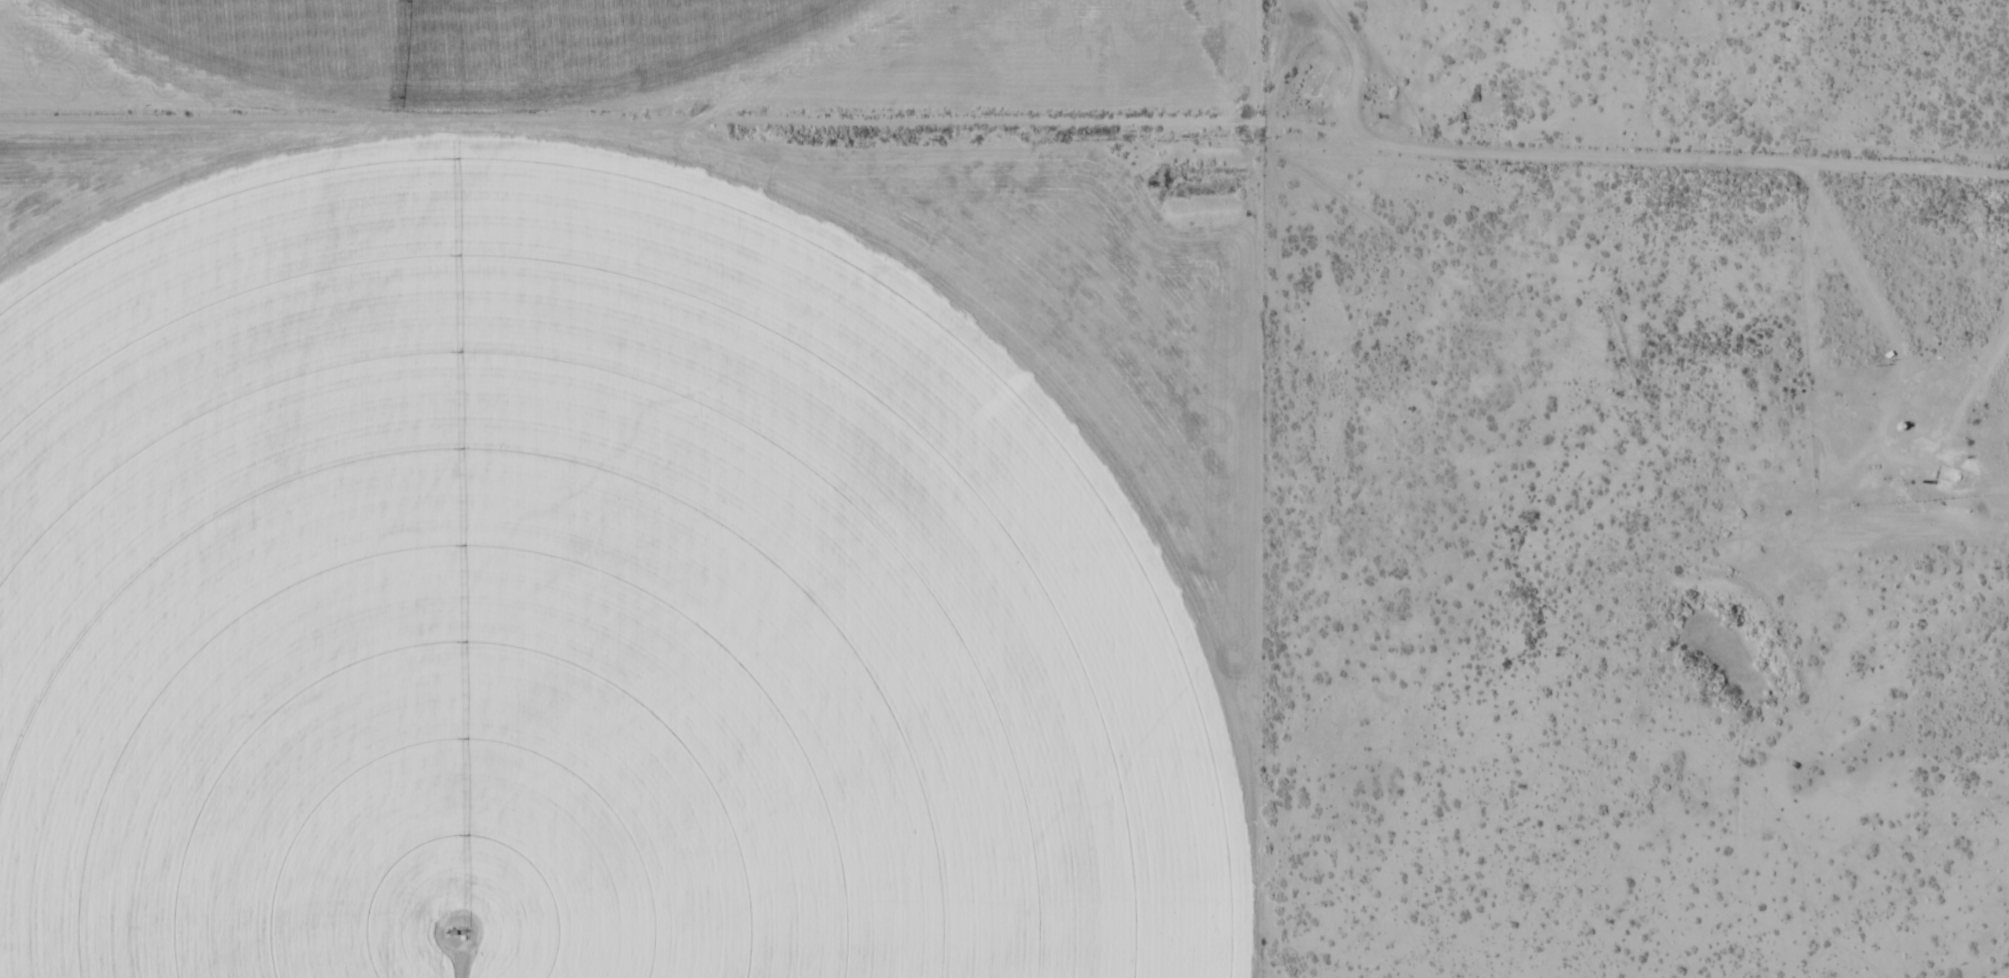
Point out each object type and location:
crop: (473, 48)
road: (1357, 66)
road: (684, 132)
road: (1688, 159)
crop: (570, 608)

